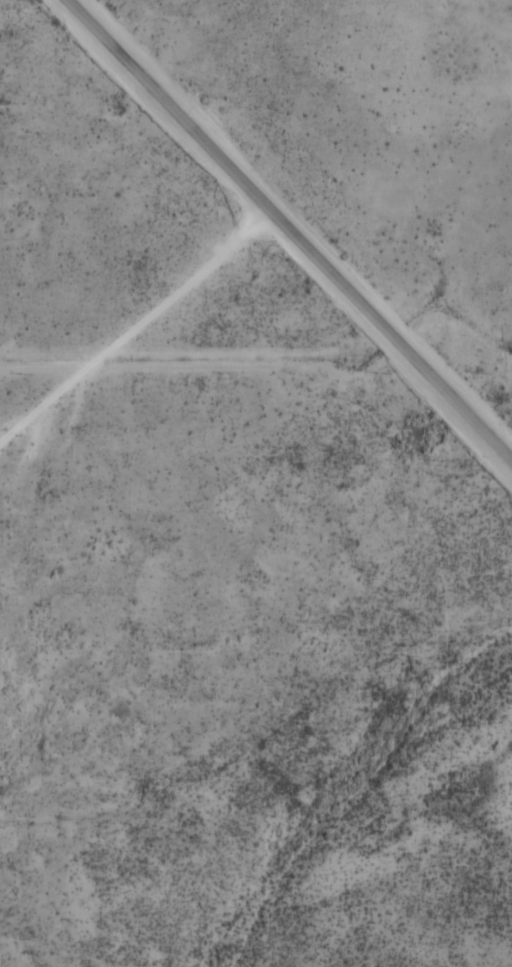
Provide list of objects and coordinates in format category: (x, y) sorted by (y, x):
road: (288, 229)
road: (136, 328)
road: (450, 655)
road: (306, 668)

